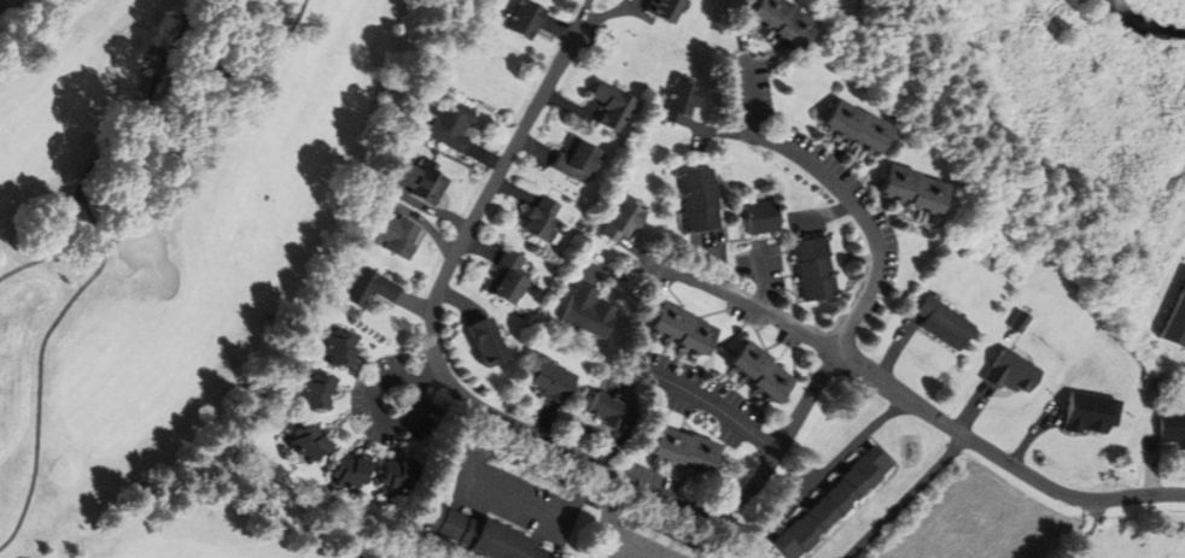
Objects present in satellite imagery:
building: (670, 8)
road: (585, 14)
building: (532, 18)
building: (792, 19)
building: (685, 100)
building: (614, 105)
building: (449, 124)
building: (864, 125)
road: (105, 152)
building: (577, 159)
building: (421, 182)
building: (920, 188)
building: (699, 200)
building: (761, 217)
building: (541, 221)
building: (621, 221)
building: (393, 235)
road: (106, 254)
park: (182, 254)
building: (813, 269)
building: (507, 277)
road: (689, 277)
building: (369, 288)
building: (585, 313)
building: (1177, 322)
building: (946, 323)
building: (683, 329)
building: (488, 342)
building: (342, 350)
building: (761, 372)
road: (428, 376)
building: (548, 378)
building: (316, 393)
road: (375, 400)
road: (717, 409)
building: (607, 411)
road: (945, 421)
building: (1172, 428)
building: (310, 442)
building: (685, 450)
building: (354, 472)
building: (401, 476)
road: (656, 491)
road: (905, 497)
building: (830, 504)
road: (1091, 528)
building: (481, 535)
road: (635, 551)

